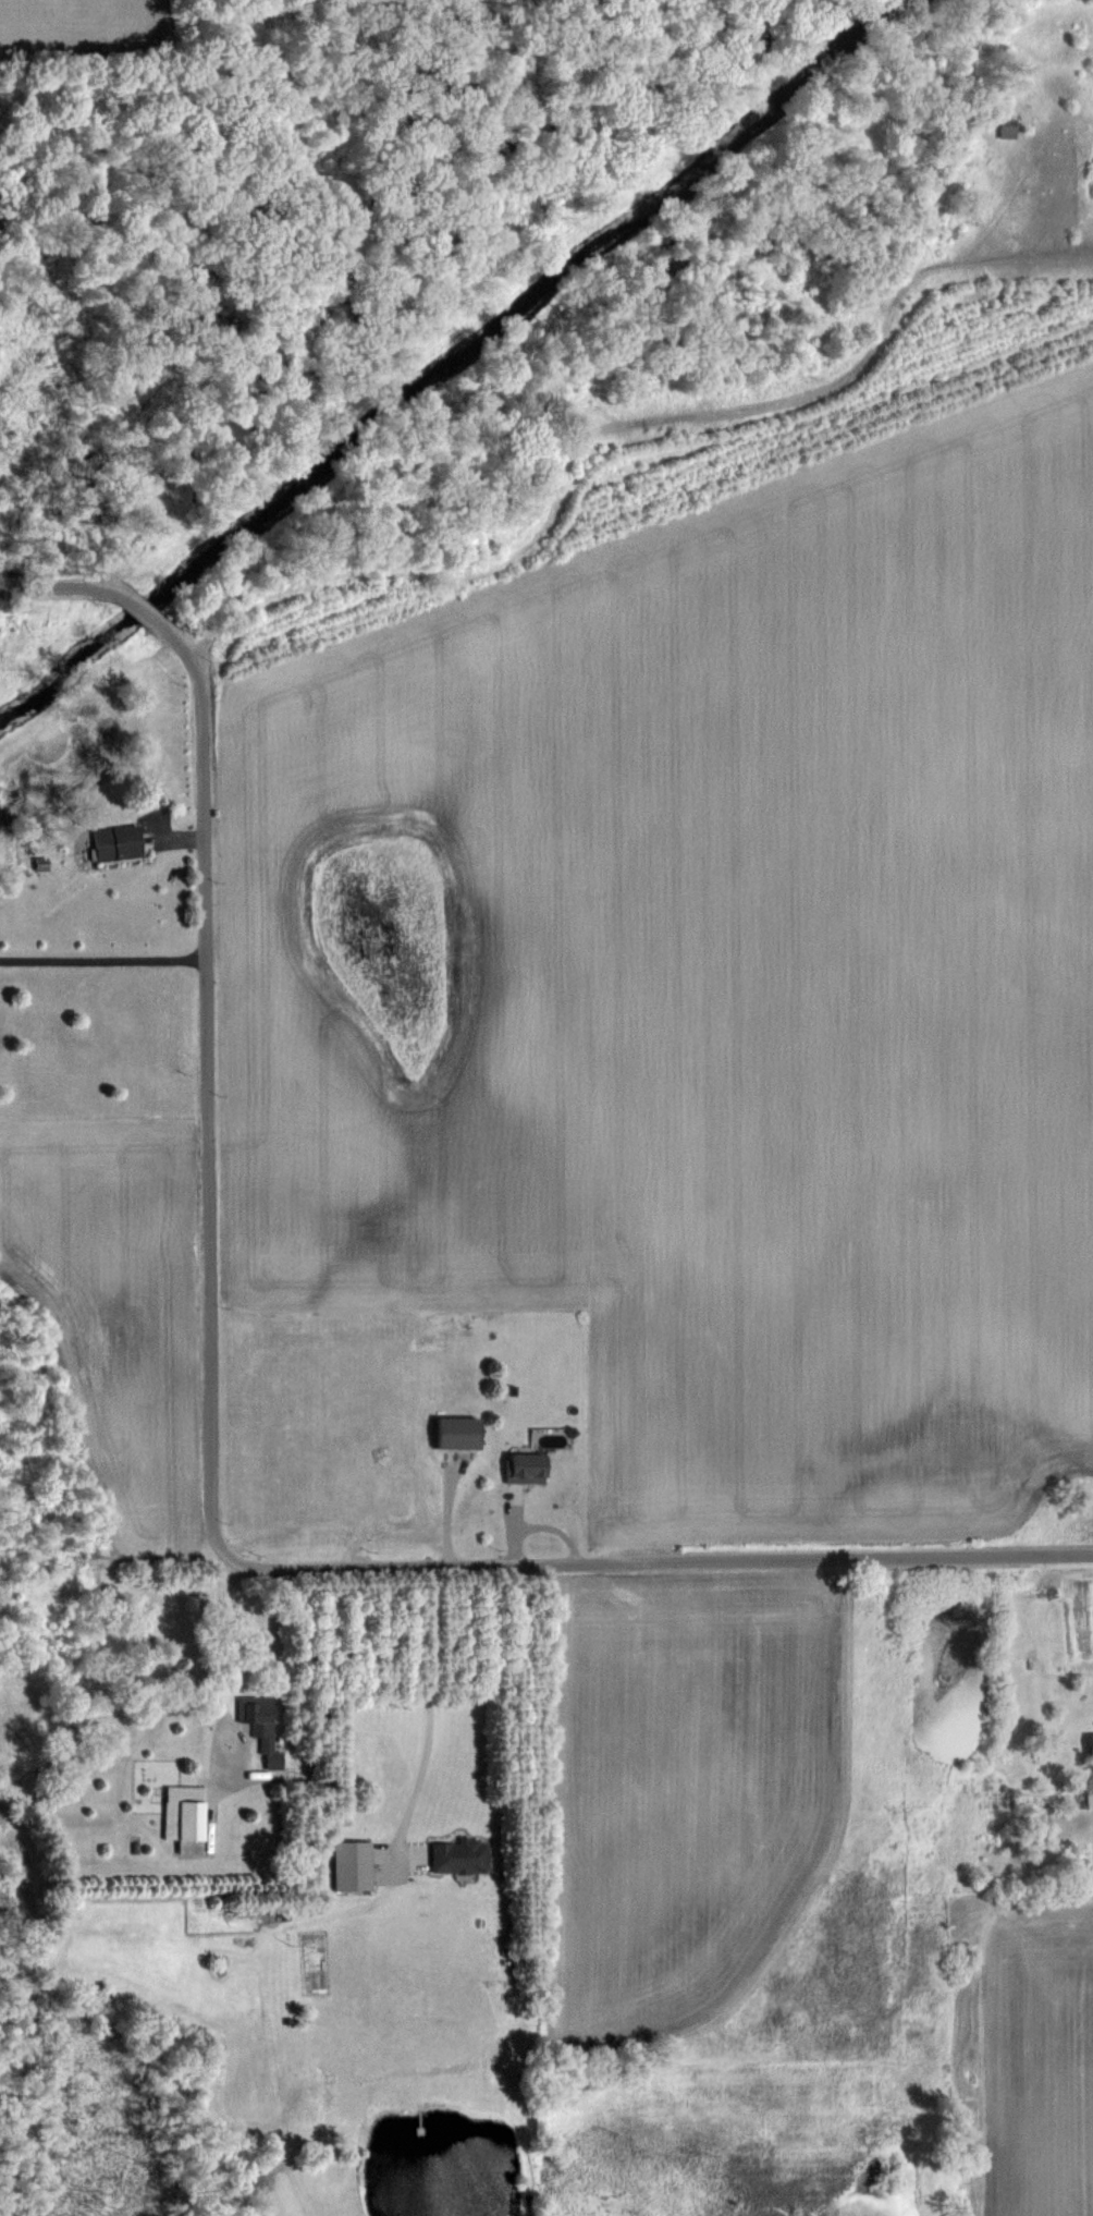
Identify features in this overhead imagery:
building: (1004, 126)
building: (947, 230)
road: (70, 586)
road: (149, 616)
building: (113, 841)
road: (103, 955)
road: (208, 1083)
building: (452, 1432)
building: (521, 1468)
road: (655, 1560)
road: (223, 1669)
road: (429, 1714)
building: (266, 1739)
building: (1089, 1751)
building: (182, 1816)
building: (456, 1855)
building: (348, 1865)

